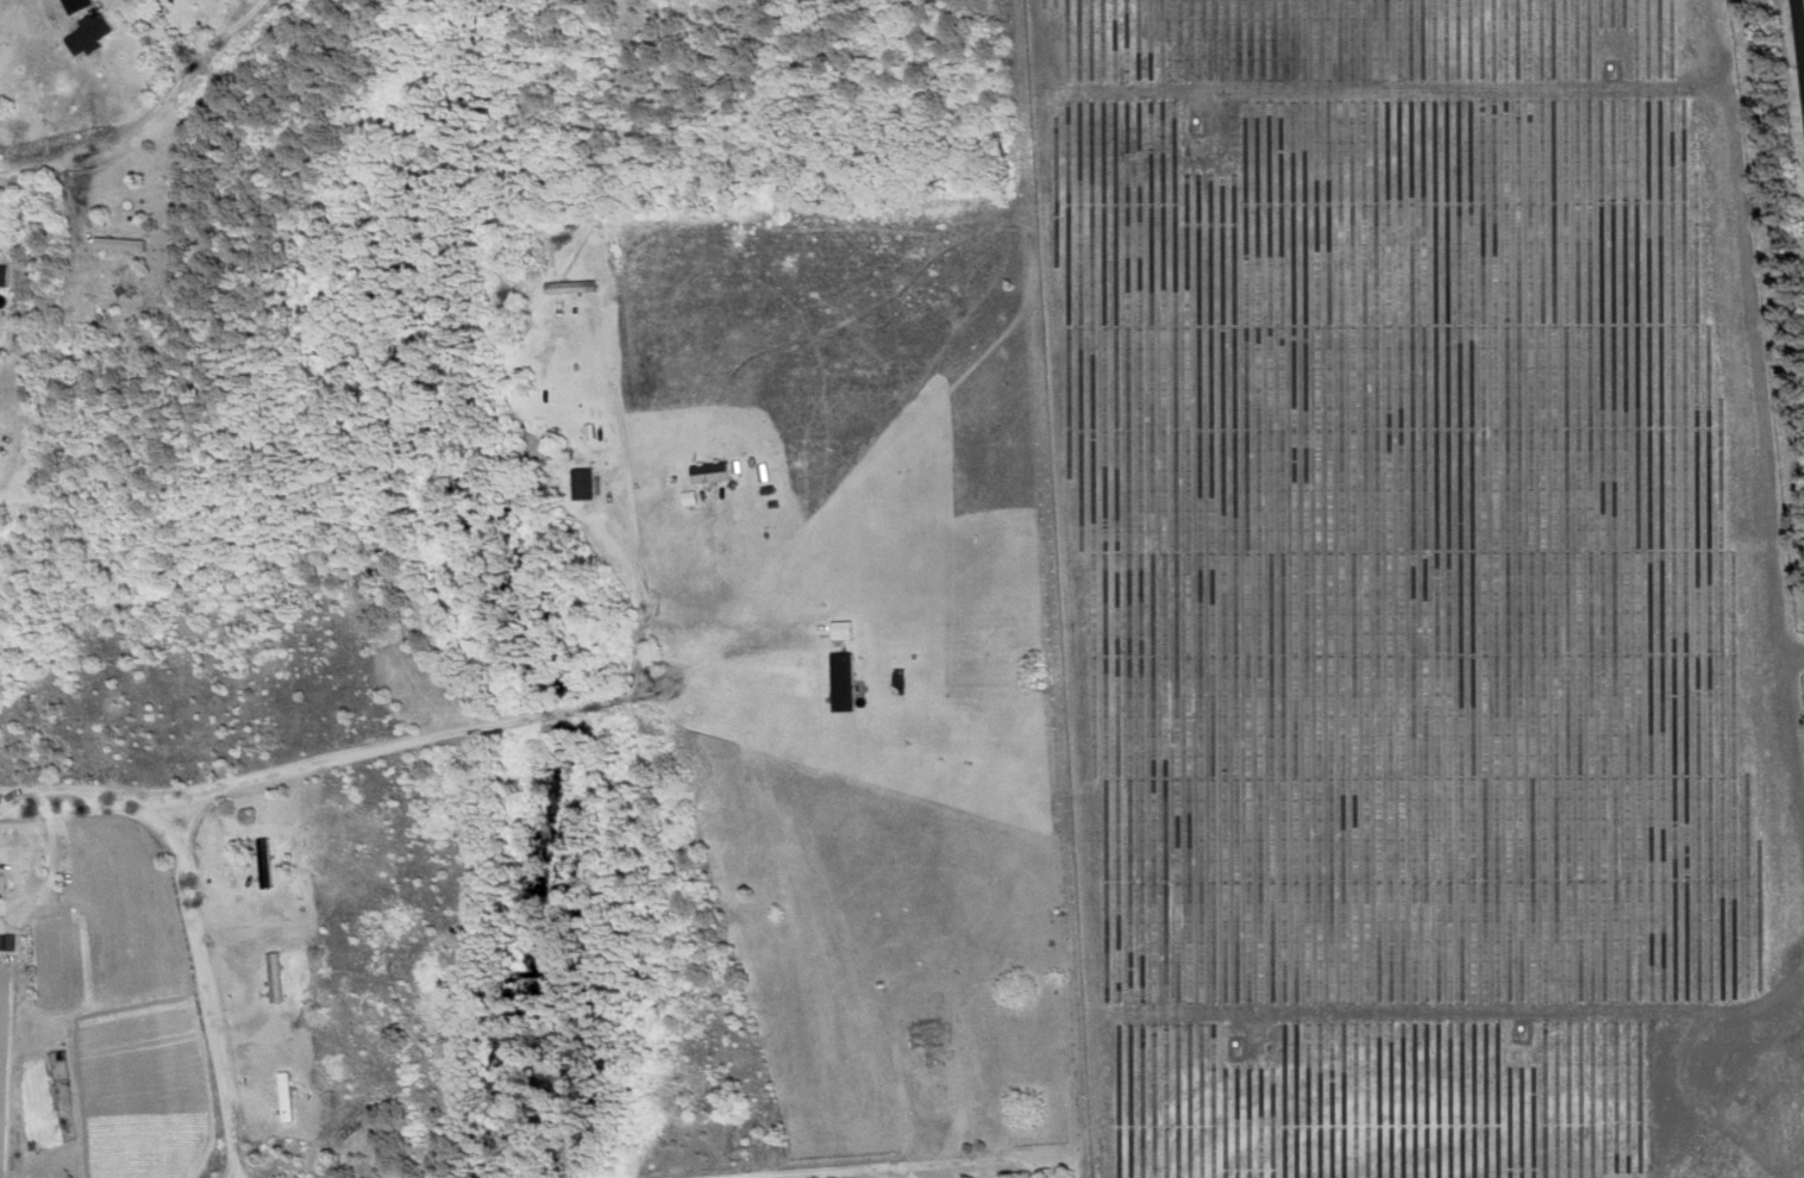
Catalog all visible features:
building: (70, 5)
building: (83, 33)
road: (1799, 33)
road: (150, 115)
building: (1, 276)
building: (566, 288)
building: (707, 474)
building: (580, 484)
building: (838, 631)
building: (839, 683)
road: (430, 739)
building: (262, 864)
building: (0, 884)
road: (203, 963)
building: (273, 977)
building: (926, 1035)
building: (282, 1096)
building: (708, 1105)
road: (232, 1158)
road: (240, 1159)
road: (906, 1170)

